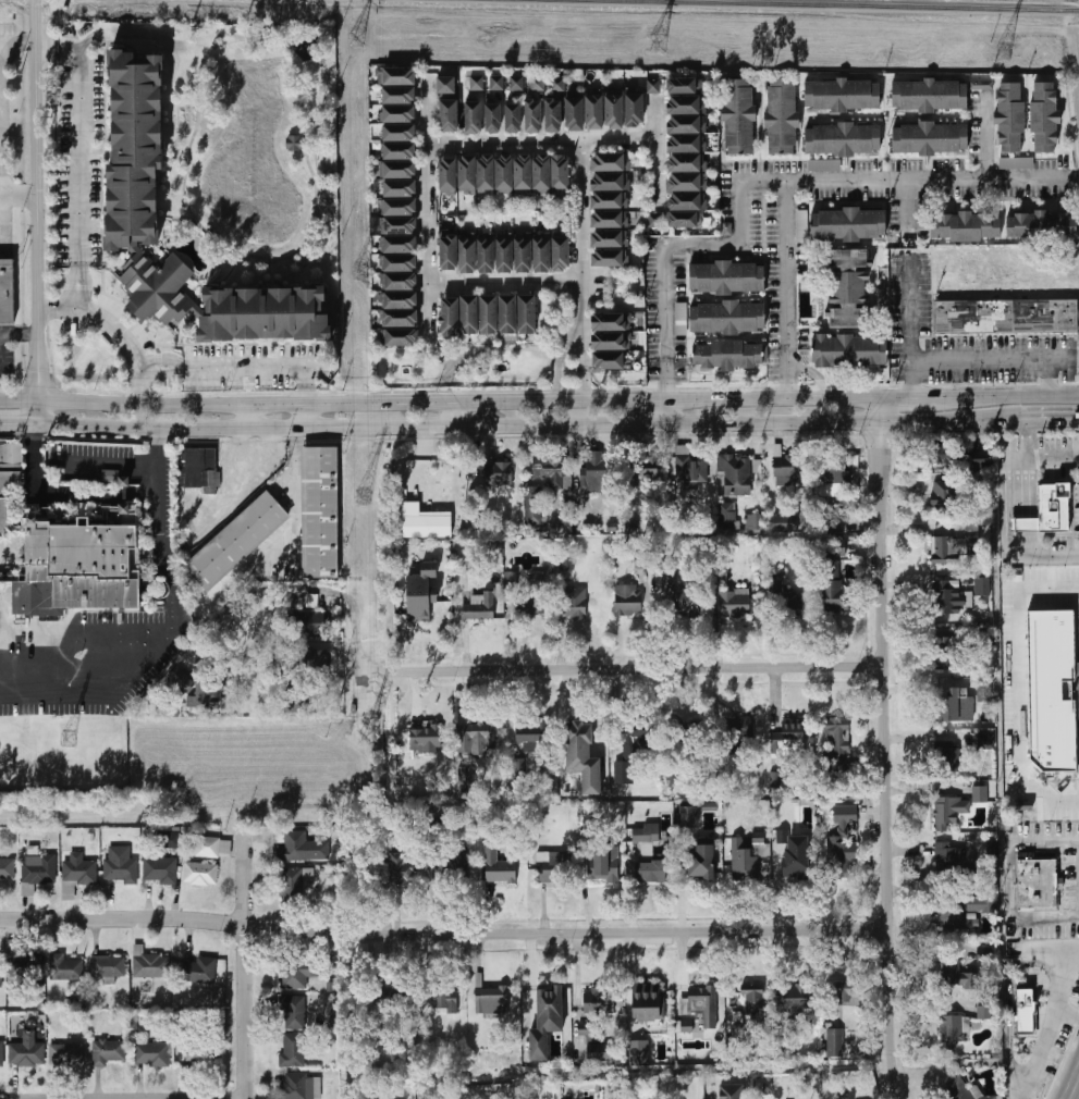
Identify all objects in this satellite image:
railway: (796, 5)
road: (1078, 36)
power tower: (357, 37)
power tower: (654, 45)
power tower: (1002, 57)
building: (399, 76)
building: (496, 82)
building: (516, 82)
building: (476, 83)
building: (537, 83)
building: (444, 84)
building: (555, 84)
building: (981, 84)
building: (652, 85)
building: (682, 86)
road: (1, 87)
building: (399, 95)
building: (929, 95)
building: (842, 96)
building: (685, 104)
building: (634, 110)
building: (593, 112)
building: (613, 112)
building: (446, 113)
building: (575, 113)
building: (397, 114)
building: (530, 114)
building: (551, 114)
building: (470, 115)
building: (782, 115)
building: (490, 116)
building: (511, 116)
building: (738, 116)
building: (1009, 116)
building: (1044, 116)
building: (685, 124)
building: (399, 132)
road: (985, 135)
building: (929, 138)
building: (842, 139)
road: (539, 140)
building: (294, 143)
building: (686, 144)
road: (654, 150)
building: (399, 151)
road: (82, 159)
building: (609, 162)
building: (686, 162)
building: (1016, 162)
building: (824, 164)
building: (400, 170)
building: (485, 173)
building: (504, 173)
building: (523, 173)
building: (541, 173)
building: (561, 173)
building: (447, 174)
building: (466, 174)
road: (878, 176)
building: (609, 181)
building: (686, 182)
road: (3, 187)
building: (399, 188)
building: (135, 189)
building: (609, 199)
building: (686, 201)
road: (1, 203)
road: (22, 203)
road: (907, 203)
building: (400, 207)
road: (425, 208)
road: (41, 212)
building: (608, 219)
building: (683, 221)
building: (847, 223)
building: (399, 225)
building: (964, 225)
building: (1041, 225)
building: (801, 226)
road: (581, 230)
building: (608, 238)
building: (400, 244)
road: (702, 245)
building: (449, 251)
building: (505, 252)
building: (467, 254)
building: (486, 254)
building: (524, 254)
building: (541, 254)
building: (561, 254)
building: (608, 257)
building: (400, 262)
power tower: (360, 274)
building: (724, 276)
road: (504, 279)
building: (400, 282)
building: (848, 287)
road: (789, 288)
building: (5, 292)
building: (400, 300)
road: (910, 308)
building: (257, 311)
building: (489, 314)
building: (527, 314)
building: (450, 316)
building: (469, 316)
building: (507, 316)
building: (1006, 317)
building: (400, 318)
building: (725, 318)
building: (612, 321)
road: (666, 323)
road: (118, 329)
road: (21, 334)
building: (400, 338)
road: (571, 338)
building: (611, 341)
road: (585, 345)
building: (848, 350)
building: (727, 354)
road: (976, 357)
parking lot: (988, 357)
building: (610, 361)
road: (243, 367)
road: (1049, 374)
road: (561, 381)
road: (586, 386)
road: (1017, 393)
road: (916, 394)
road: (771, 398)
road: (332, 405)
road: (876, 407)
road: (666, 412)
road: (1013, 413)
road: (459, 415)
road: (250, 416)
road: (310, 416)
road: (911, 418)
road: (771, 421)
road: (974, 422)
road: (19, 424)
road: (1041, 424)
road: (352, 425)
building: (939, 453)
road: (1039, 453)
building: (11, 457)
building: (980, 459)
road: (113, 460)
building: (690, 465)
building: (642, 467)
building: (199, 469)
building: (786, 470)
building: (551, 471)
building: (594, 471)
building: (498, 472)
building: (831, 472)
building: (735, 473)
building: (10, 483)
road: (1004, 490)
building: (942, 493)
road: (38, 494)
power tower: (359, 498)
building: (531, 502)
building: (1056, 506)
building: (322, 508)
building: (726, 515)
building: (4, 517)
building: (752, 521)
building: (425, 522)
building: (1027, 523)
building: (833, 526)
building: (240, 536)
building: (834, 546)
building: (954, 546)
road: (1038, 555)
building: (87, 559)
building: (566, 563)
road: (169, 575)
building: (831, 585)
building: (982, 585)
road: (333, 592)
building: (421, 592)
building: (783, 595)
building: (949, 597)
building: (627, 598)
building: (682, 600)
building: (575, 602)
building: (734, 602)
building: (528, 605)
building: (479, 606)
building: (307, 625)
building: (942, 653)
building: (311, 659)
building: (189, 660)
road: (369, 663)
road: (629, 670)
road: (369, 671)
road: (327, 678)
building: (1051, 681)
building: (180, 682)
building: (983, 691)
building: (206, 696)
building: (296, 699)
building: (955, 705)
building: (689, 730)
building: (739, 730)
building: (837, 731)
building: (530, 734)
power tower: (358, 737)
building: (426, 738)
building: (475, 738)
building: (633, 738)
building: (788, 738)
building: (984, 741)
power tower: (66, 742)
building: (583, 756)
building: (946, 756)
road: (884, 760)
building: (518, 767)
building: (624, 773)
building: (465, 777)
building: (979, 793)
building: (948, 810)
building: (845, 814)
building: (688, 816)
building: (170, 837)
building: (645, 838)
building: (293, 845)
building: (213, 847)
building: (992, 849)
building: (842, 857)
building: (747, 859)
building: (953, 860)
building: (701, 862)
building: (451, 863)
building: (603, 864)
building: (796, 864)
building: (120, 865)
building: (551, 866)
building: (37, 868)
parking lot: (1071, 868)
building: (79, 869)
building: (397, 869)
building: (501, 869)
building: (7, 870)
building: (160, 870)
building: (652, 872)
building: (200, 873)
building: (294, 881)
building: (1039, 884)
building: (968, 910)
parking lot: (1051, 925)
road: (443, 936)
parking lot: (1067, 940)
road: (1050, 947)
road: (1027, 955)
building: (23, 963)
building: (148, 963)
road: (241, 964)
building: (65, 966)
building: (108, 966)
building: (198, 968)
building: (1, 971)
building: (955, 973)
road: (1070, 973)
building: (297, 974)
parking lot: (1076, 984)
building: (846, 991)
building: (391, 996)
building: (796, 996)
building: (491, 1000)
building: (597, 1000)
building: (442, 1001)
building: (649, 1001)
building: (748, 1001)
building: (700, 1004)
building: (1027, 1005)
road: (1011, 1011)
building: (1015, 1011)
building: (293, 1012)
road: (1068, 1012)
building: (547, 1021)
building: (684, 1026)
building: (953, 1029)
road: (1013, 1039)
building: (596, 1041)
building: (835, 1042)
road: (1043, 1046)
building: (789, 1047)
building: (292, 1049)
building: (26, 1051)
building: (109, 1051)
building: (204, 1051)
building: (638, 1052)
building: (1, 1053)
building: (65, 1053)
building: (152, 1054)
parking lot: (1053, 1057)
road: (1026, 1062)
road: (1018, 1081)
road: (1078, 1083)
building: (301, 1086)
road: (1074, 1088)
building: (965, 1090)
building: (729, 1091)

